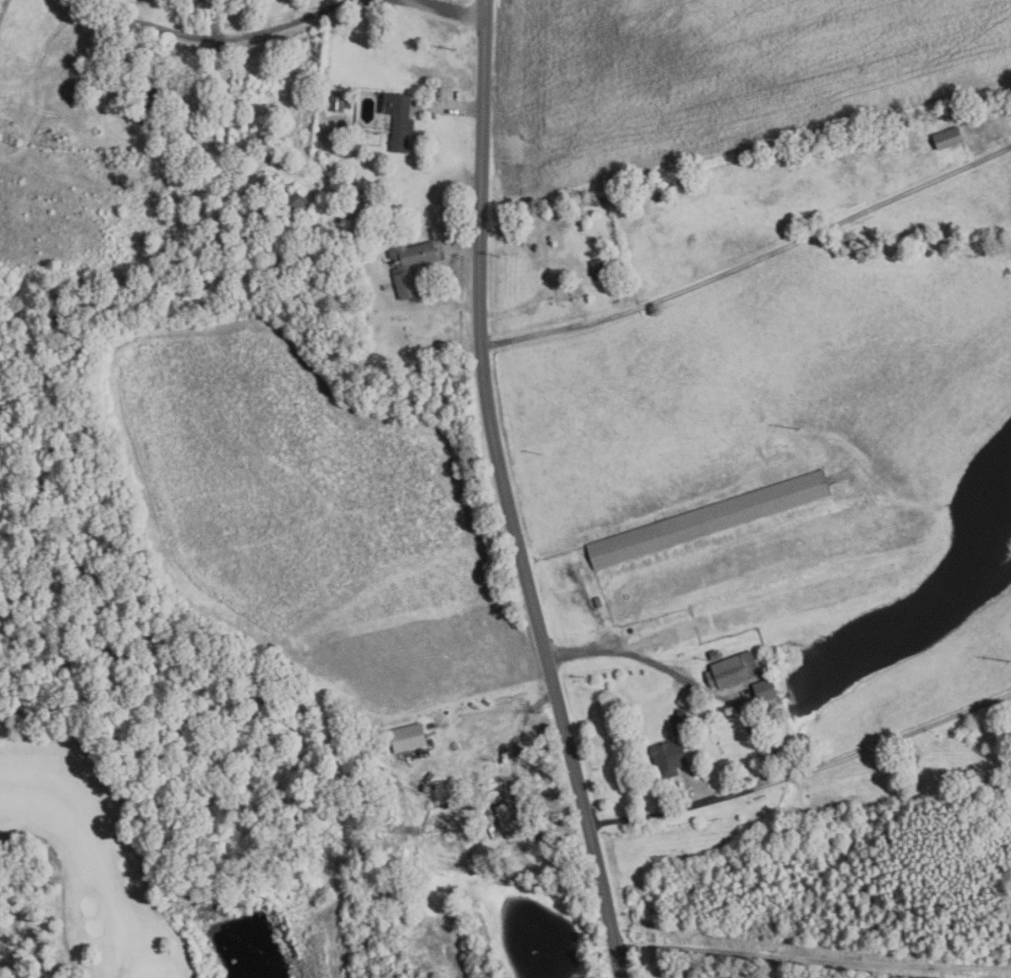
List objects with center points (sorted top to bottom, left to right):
road: (447, 8)
road: (3, 11)
road: (50, 37)
road: (211, 38)
power tower: (456, 49)
building: (87, 68)
building: (144, 99)
building: (336, 103)
building: (348, 103)
road: (451, 106)
building: (8, 111)
building: (398, 118)
building: (947, 137)
power tower: (584, 192)
building: (598, 201)
building: (297, 204)
building: (580, 229)
road: (460, 253)
road: (751, 263)
building: (408, 265)
building: (599, 268)
power tower: (800, 428)
road: (505, 494)
building: (708, 519)
building: (598, 602)
building: (775, 607)
building: (713, 654)
building: (702, 659)
power tower: (1010, 663)
building: (732, 670)
road: (683, 679)
building: (764, 690)
building: (685, 698)
building: (1010, 713)
building: (679, 721)
building: (407, 737)
road: (923, 745)
building: (689, 754)
building: (669, 757)
building: (911, 767)
road: (803, 772)
building: (694, 773)
road: (693, 789)
road: (522, 798)
building: (450, 801)
building: (508, 820)
road: (12, 837)
road: (41, 844)
park: (78, 872)
road: (62, 916)
road: (813, 961)
road: (780, 967)

